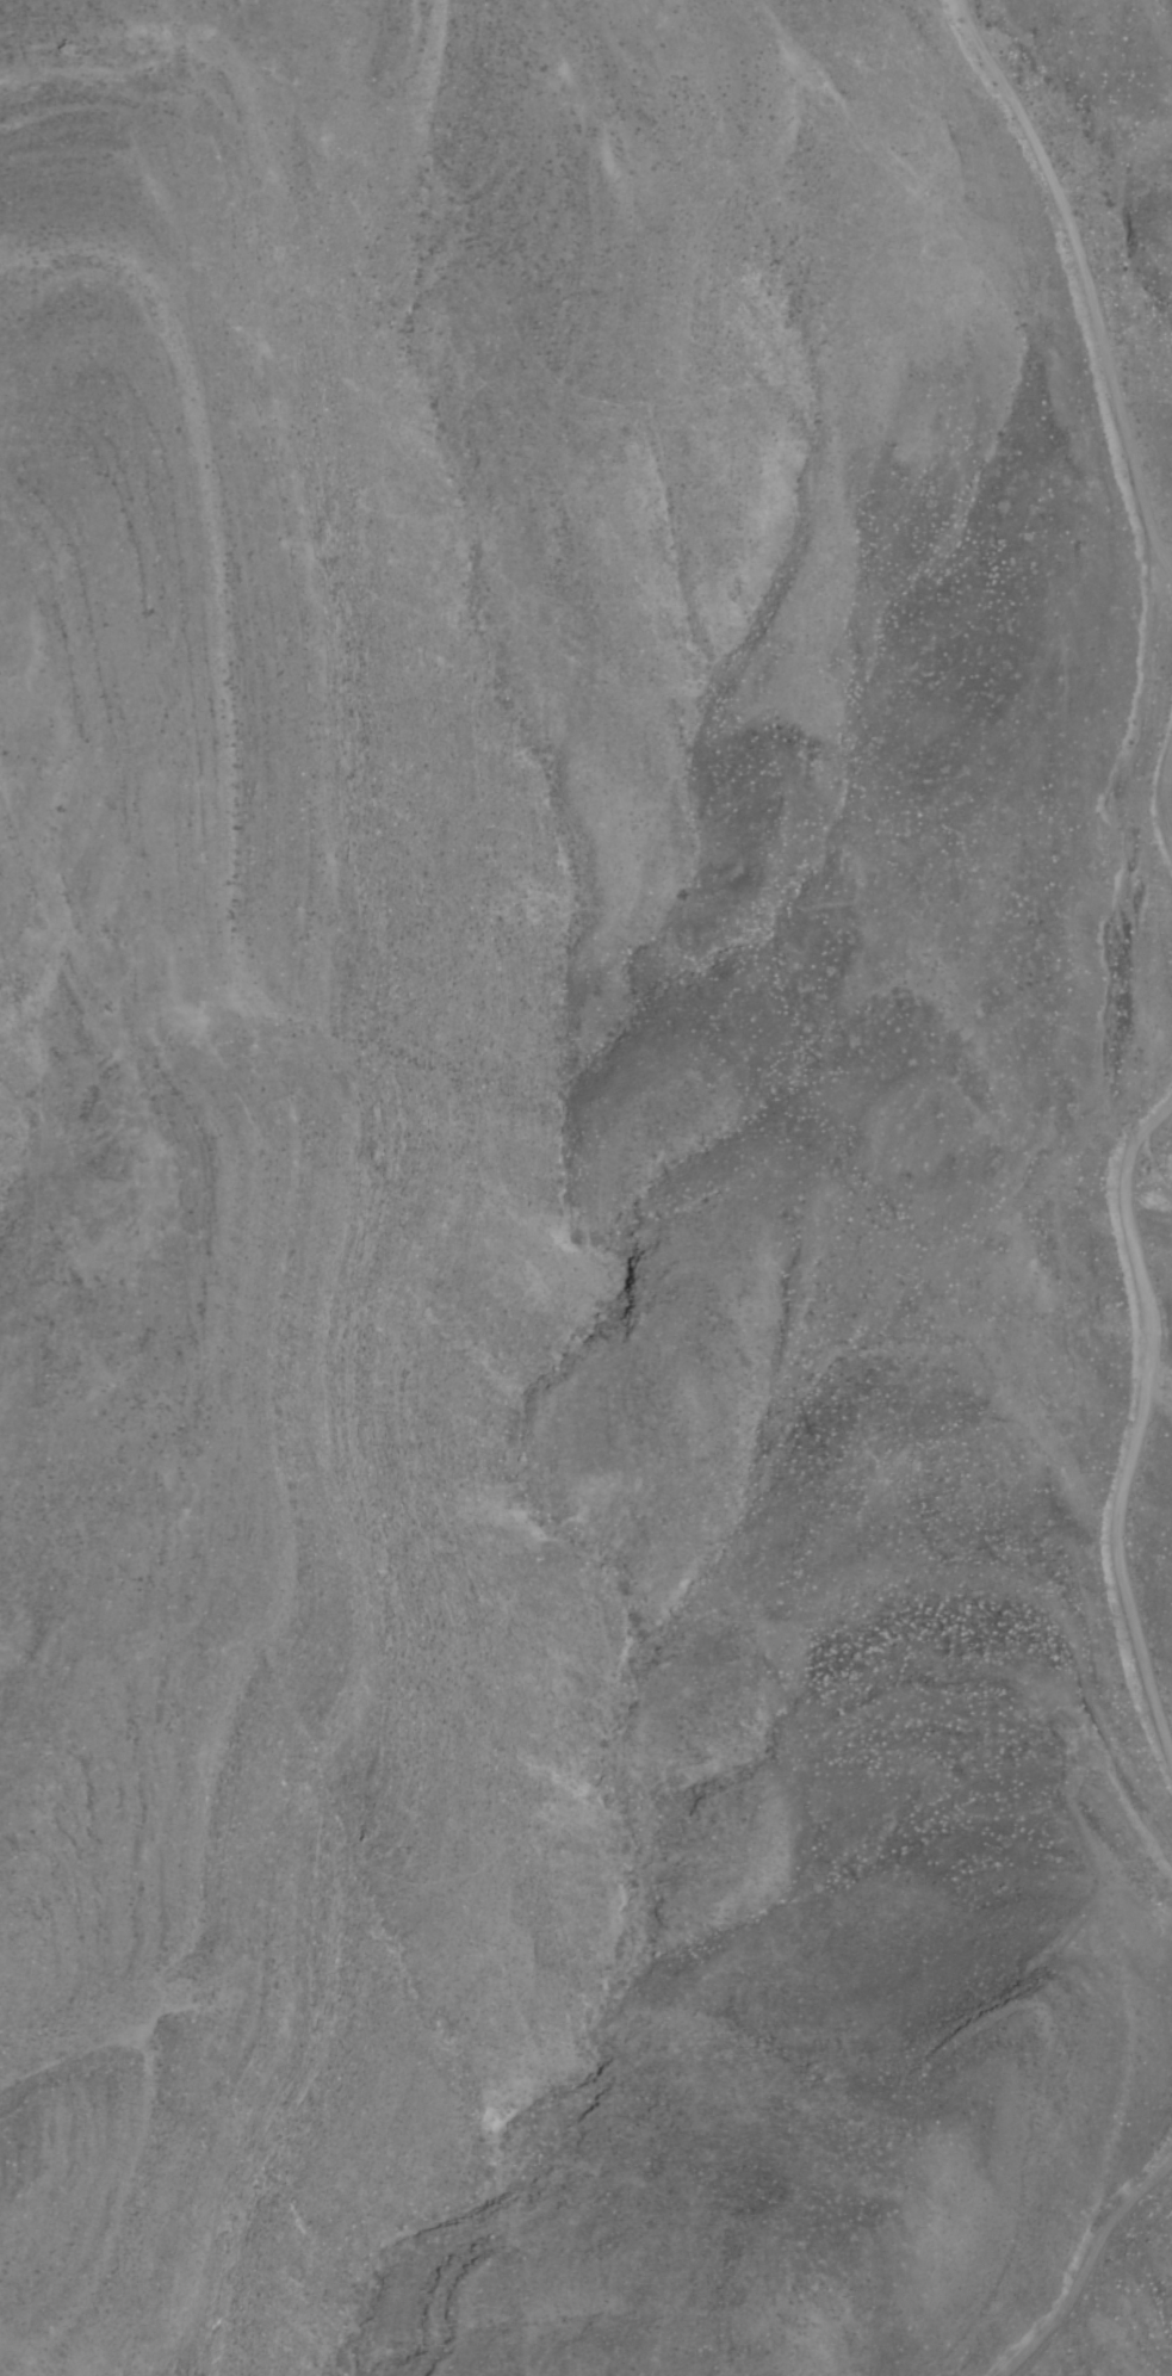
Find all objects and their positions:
road: (1139, 905)
road: (1068, 2233)

